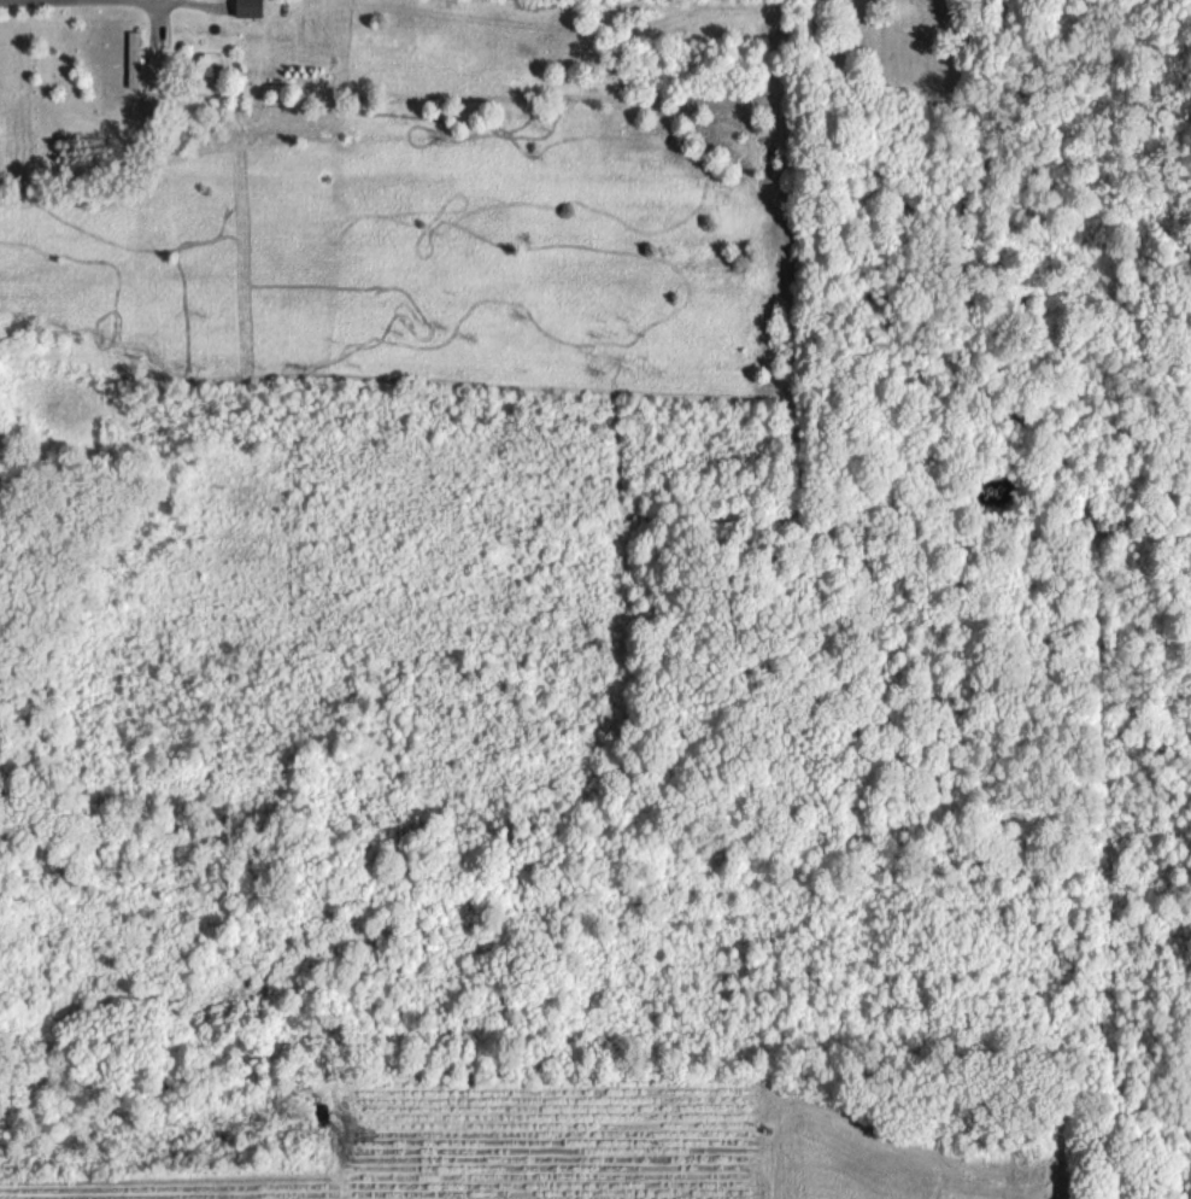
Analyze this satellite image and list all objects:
road: (20, 0)
building: (247, 7)
building: (135, 59)

